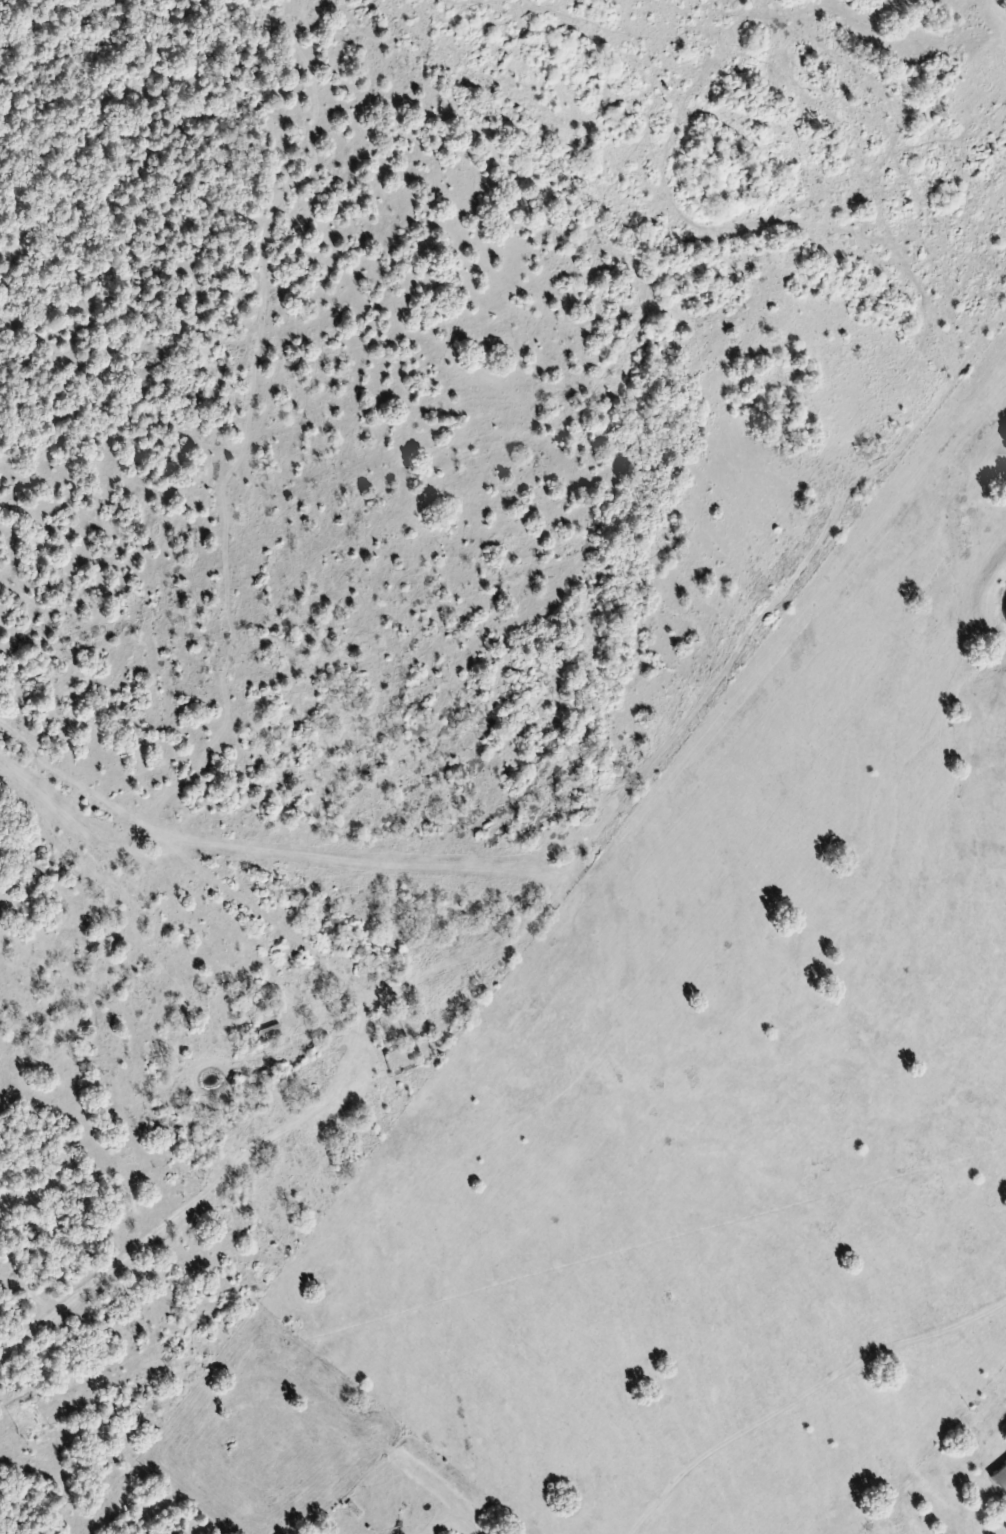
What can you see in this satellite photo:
road: (308, 1345)
building: (1000, 1479)

